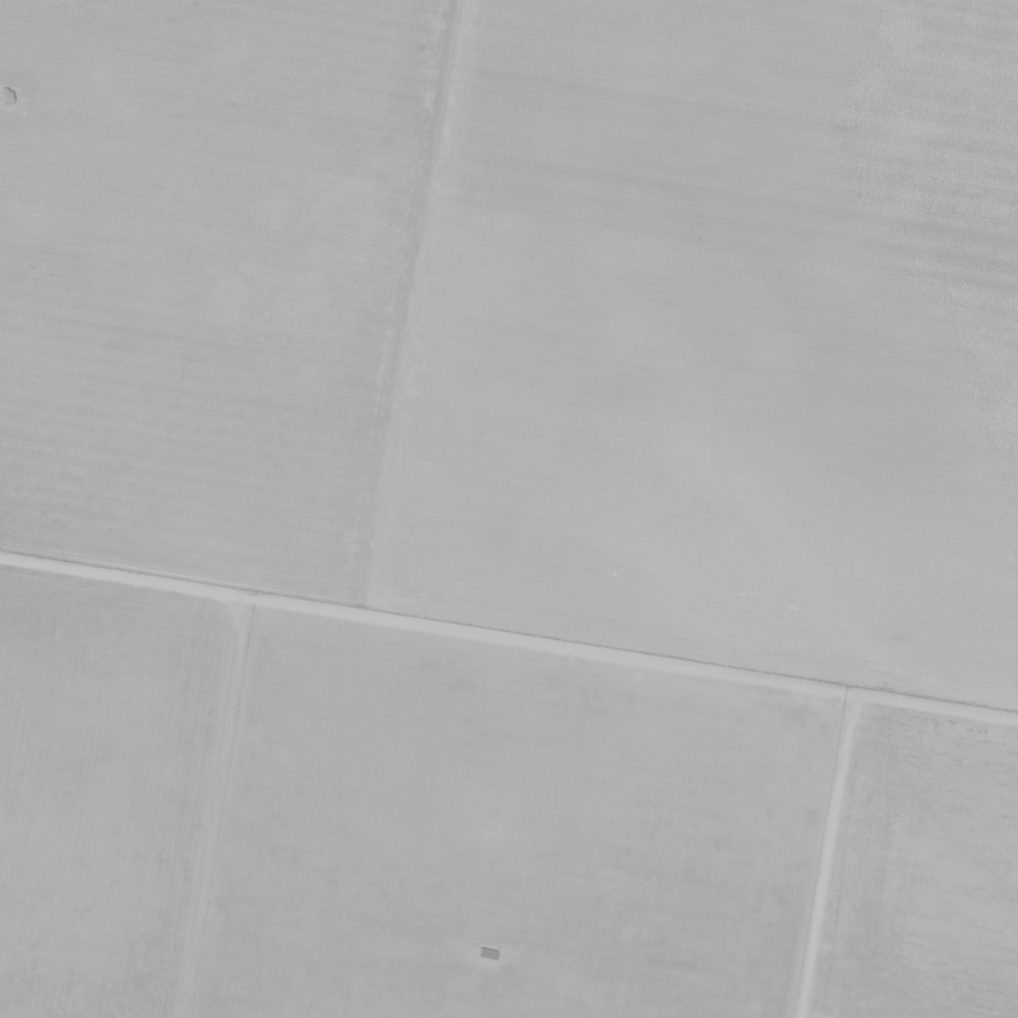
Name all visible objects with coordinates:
road: (392, 306)
road: (508, 639)

